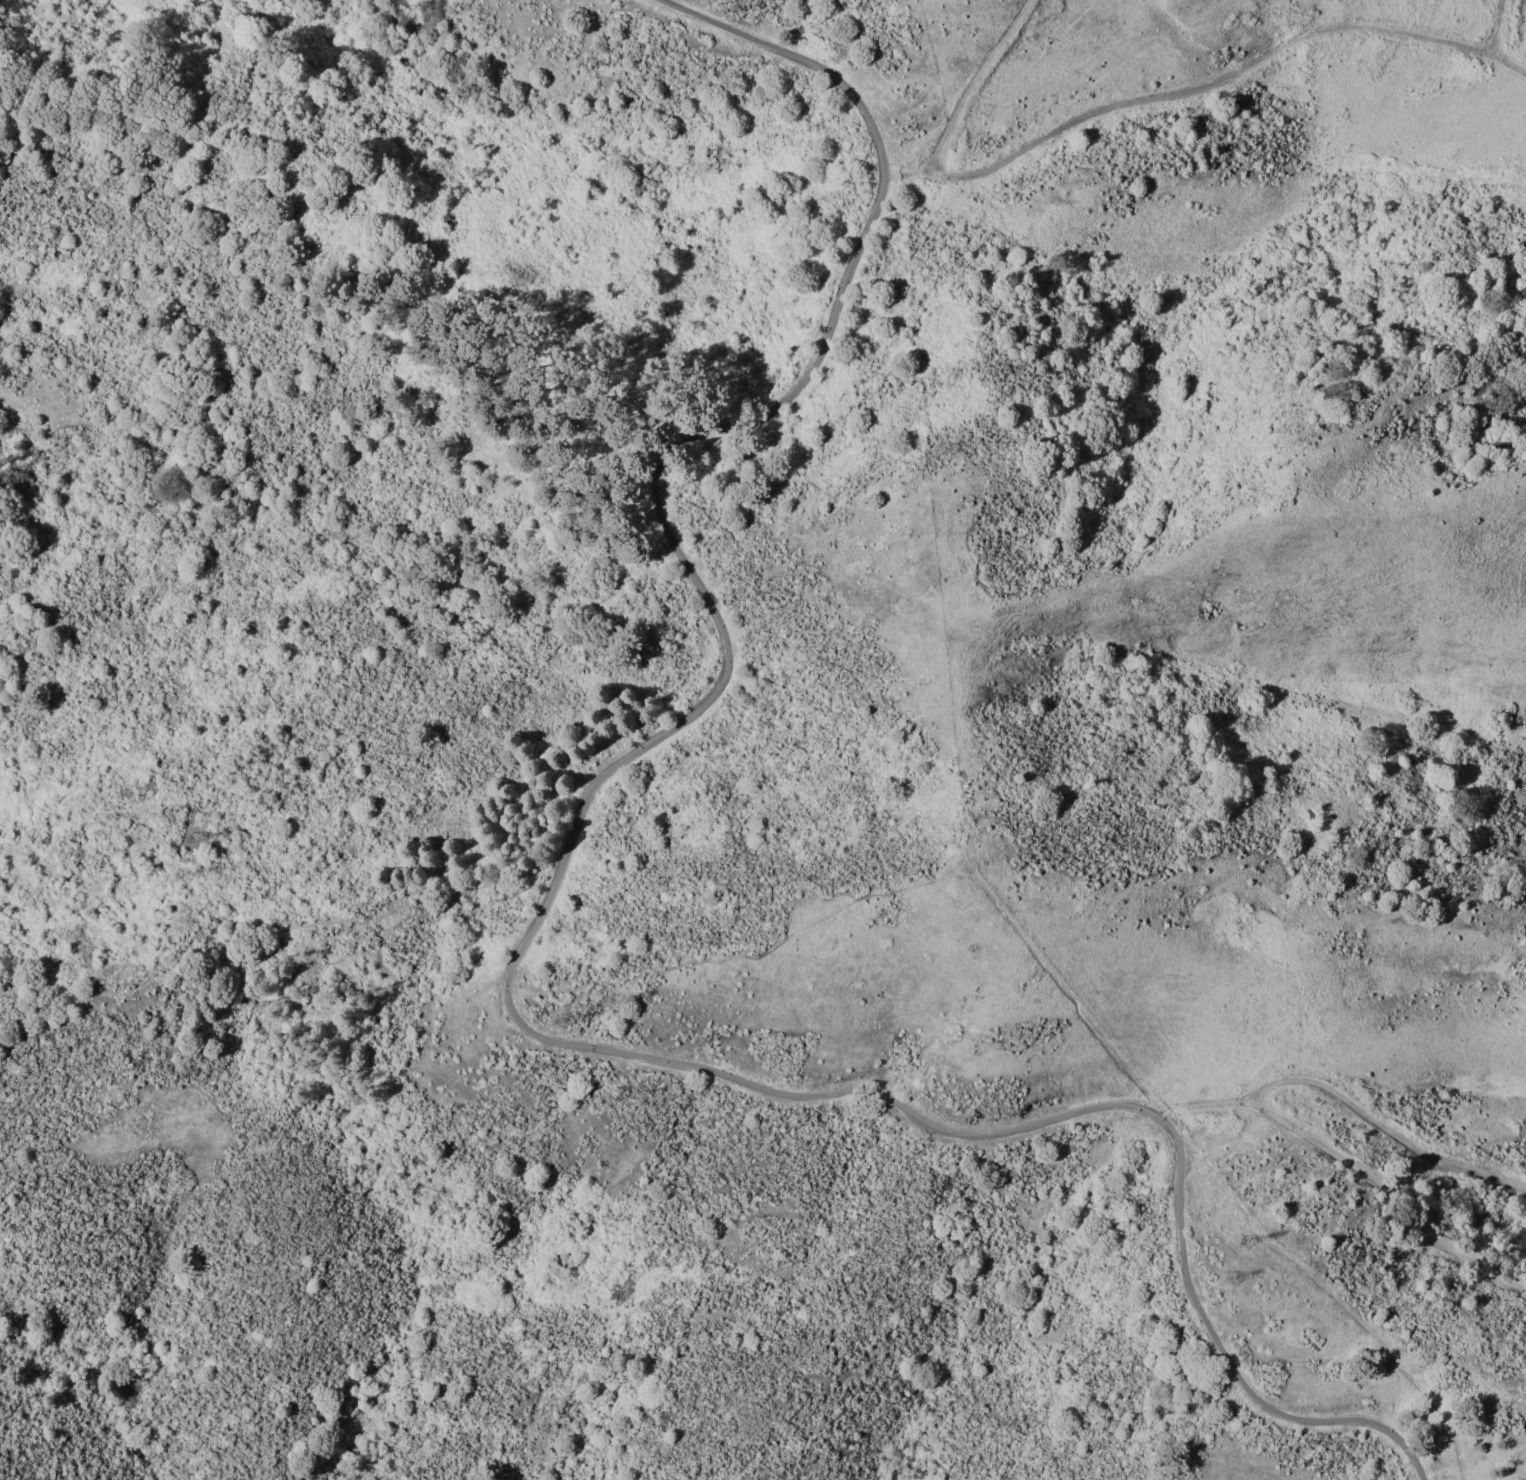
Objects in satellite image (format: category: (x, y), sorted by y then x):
road: (1496, 29)
road: (1133, 104)
road: (912, 169)
power tower: (201, 836)
power tower: (187, 872)
road: (880, 893)
road: (280, 929)
road: (531, 937)
power tower: (623, 998)
power tower: (566, 1019)
road: (1202, 1105)
road: (1382, 1128)
road: (1376, 1182)
power tower: (1250, 1241)
power tower: (1235, 1275)
road: (1509, 1275)

